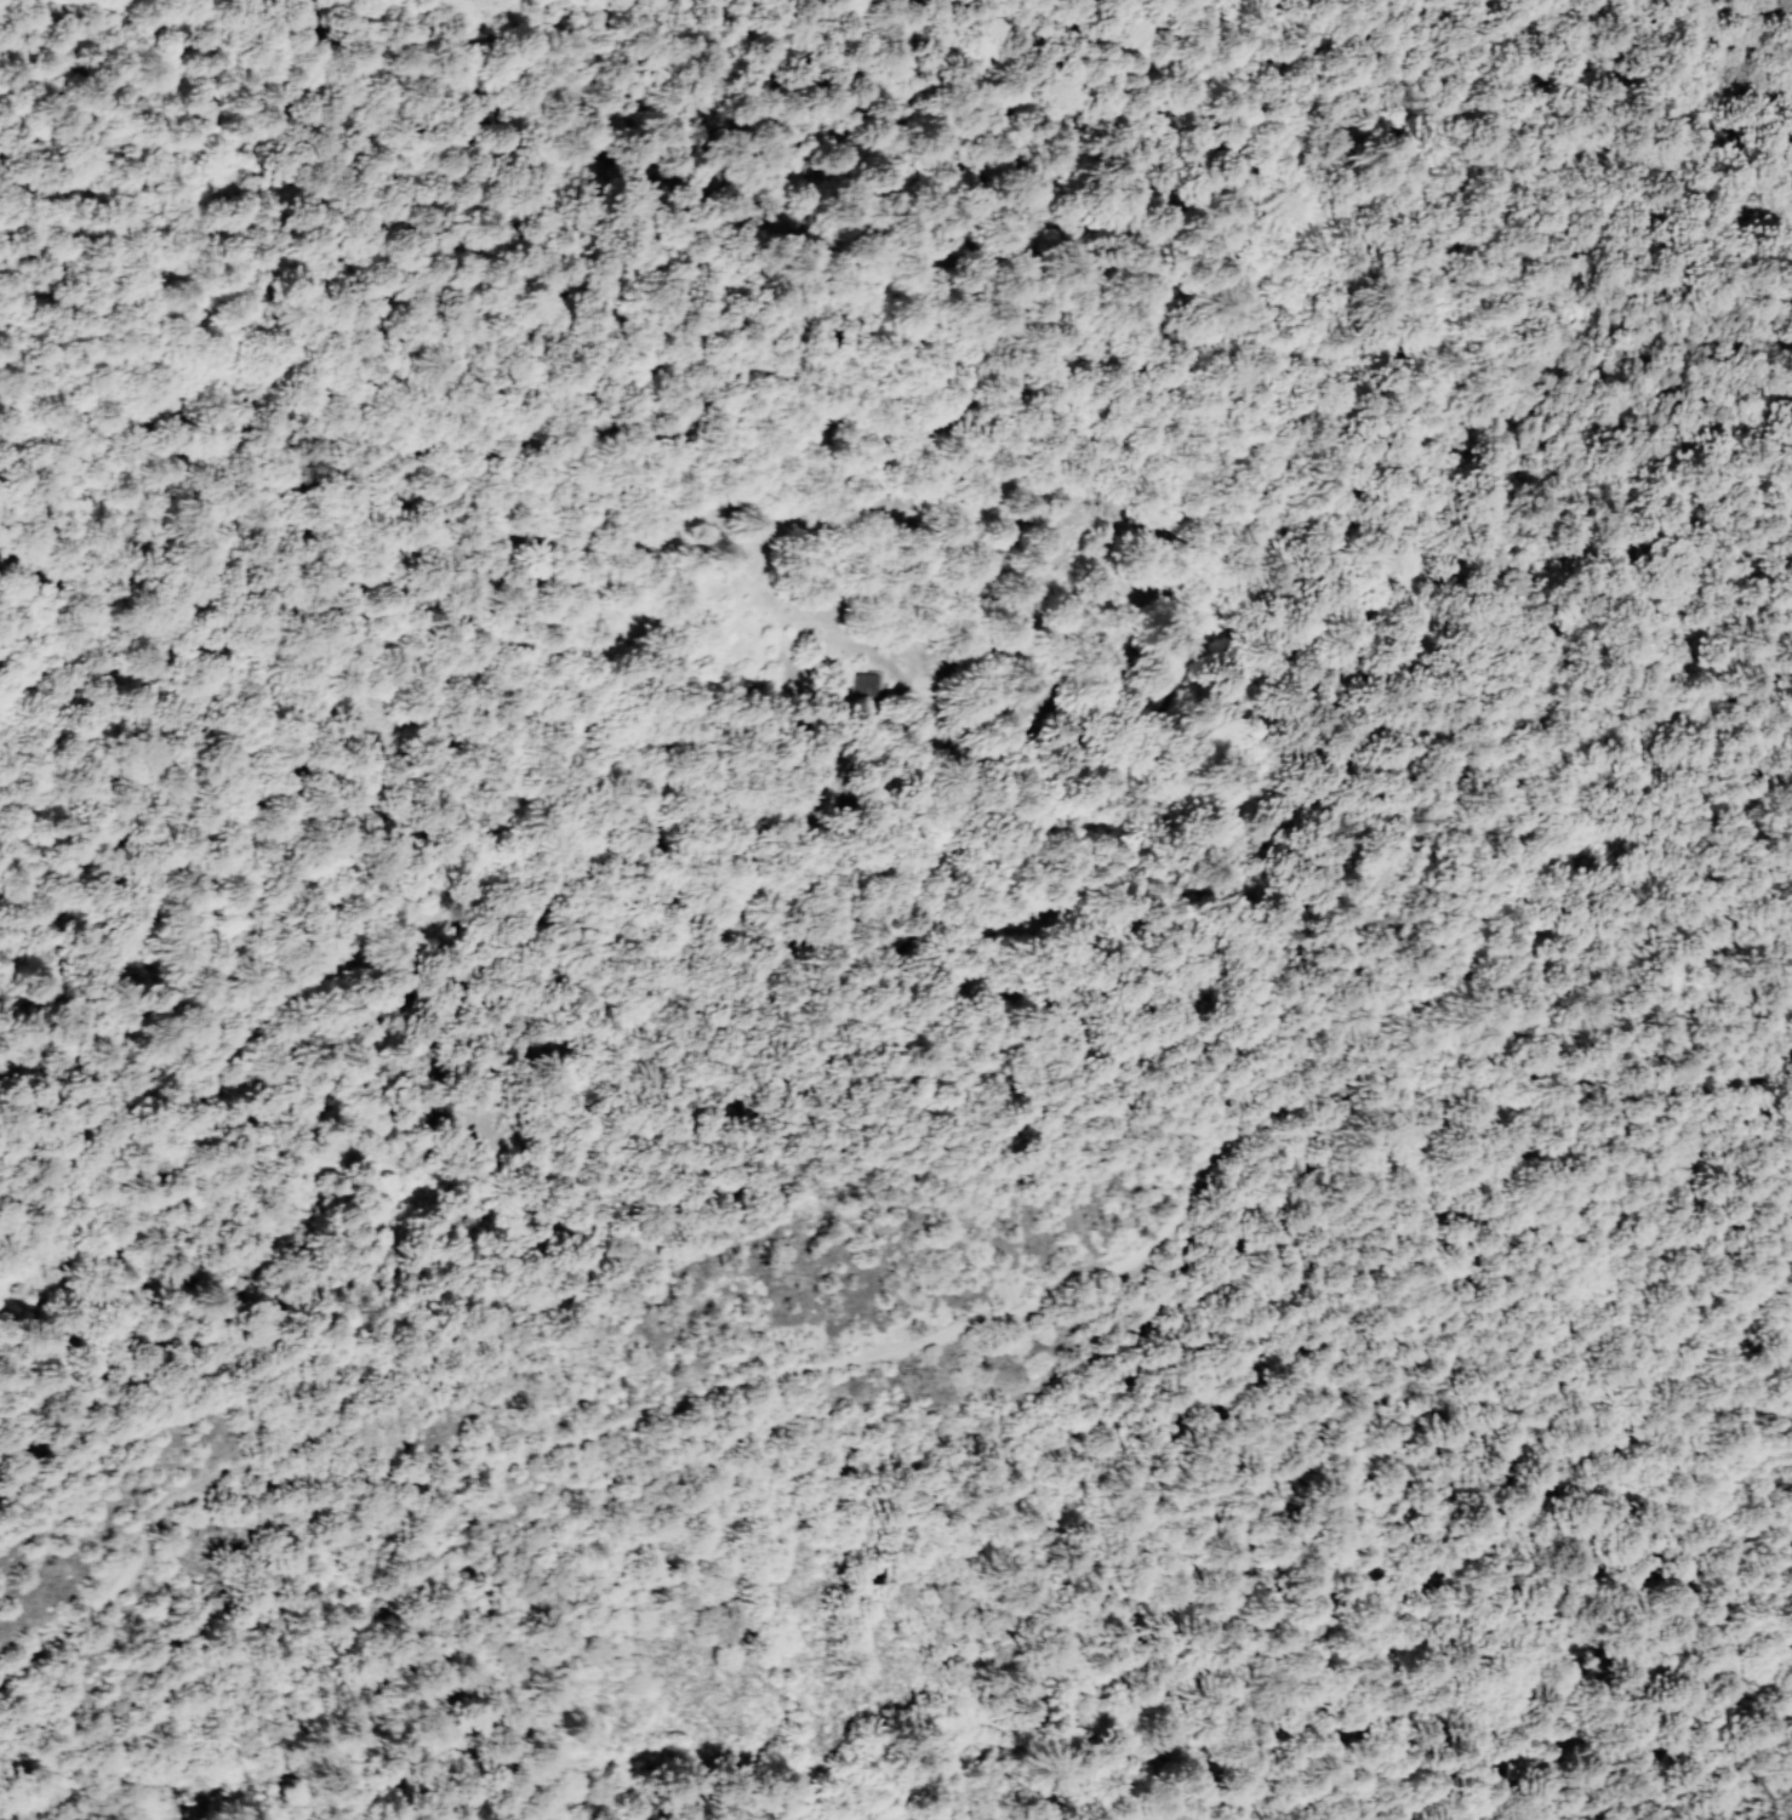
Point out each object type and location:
building: (1628, 738)
road: (1557, 886)
road: (320, 995)
building: (1553, 1164)
road: (898, 1351)
road: (1322, 1633)
road: (1757, 1771)

